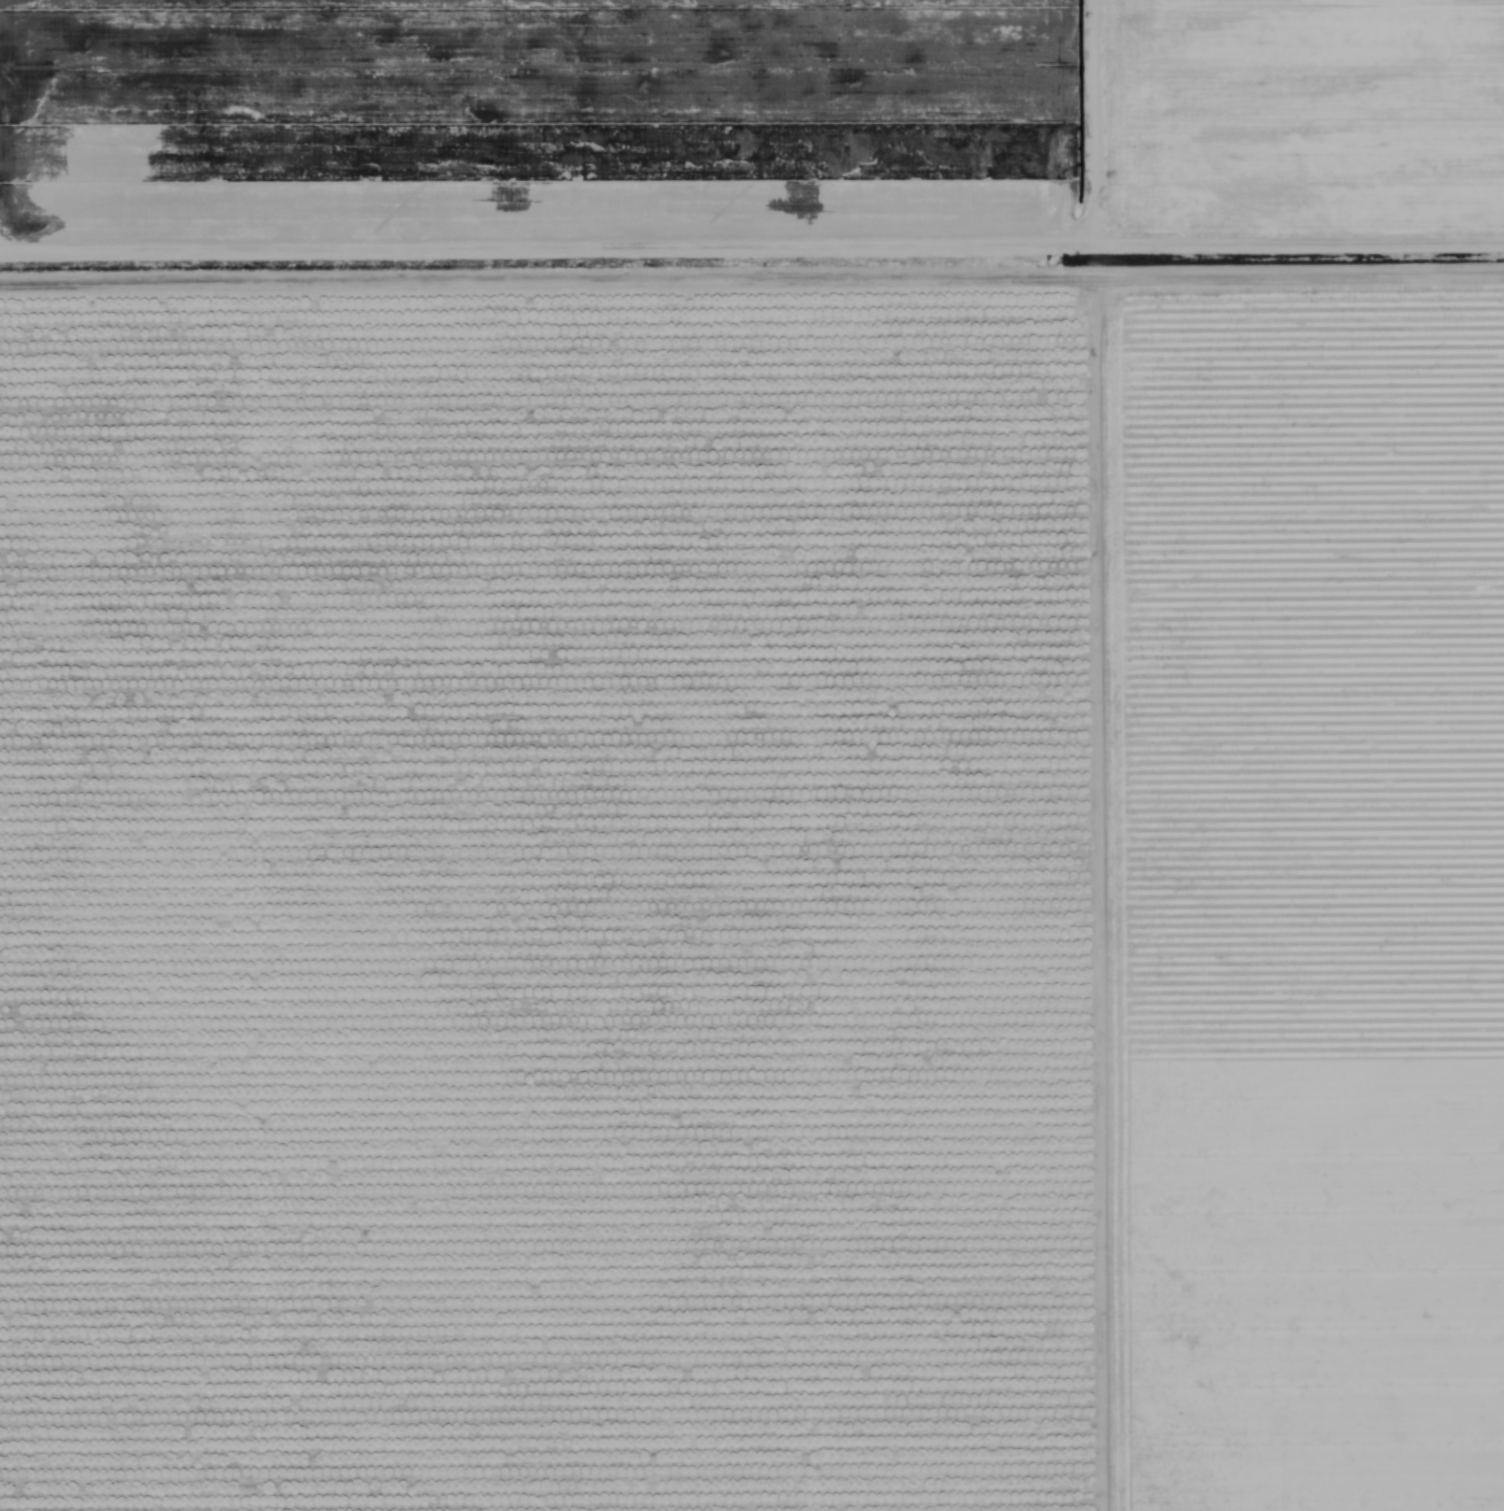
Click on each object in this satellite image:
crop: (752, 755)

